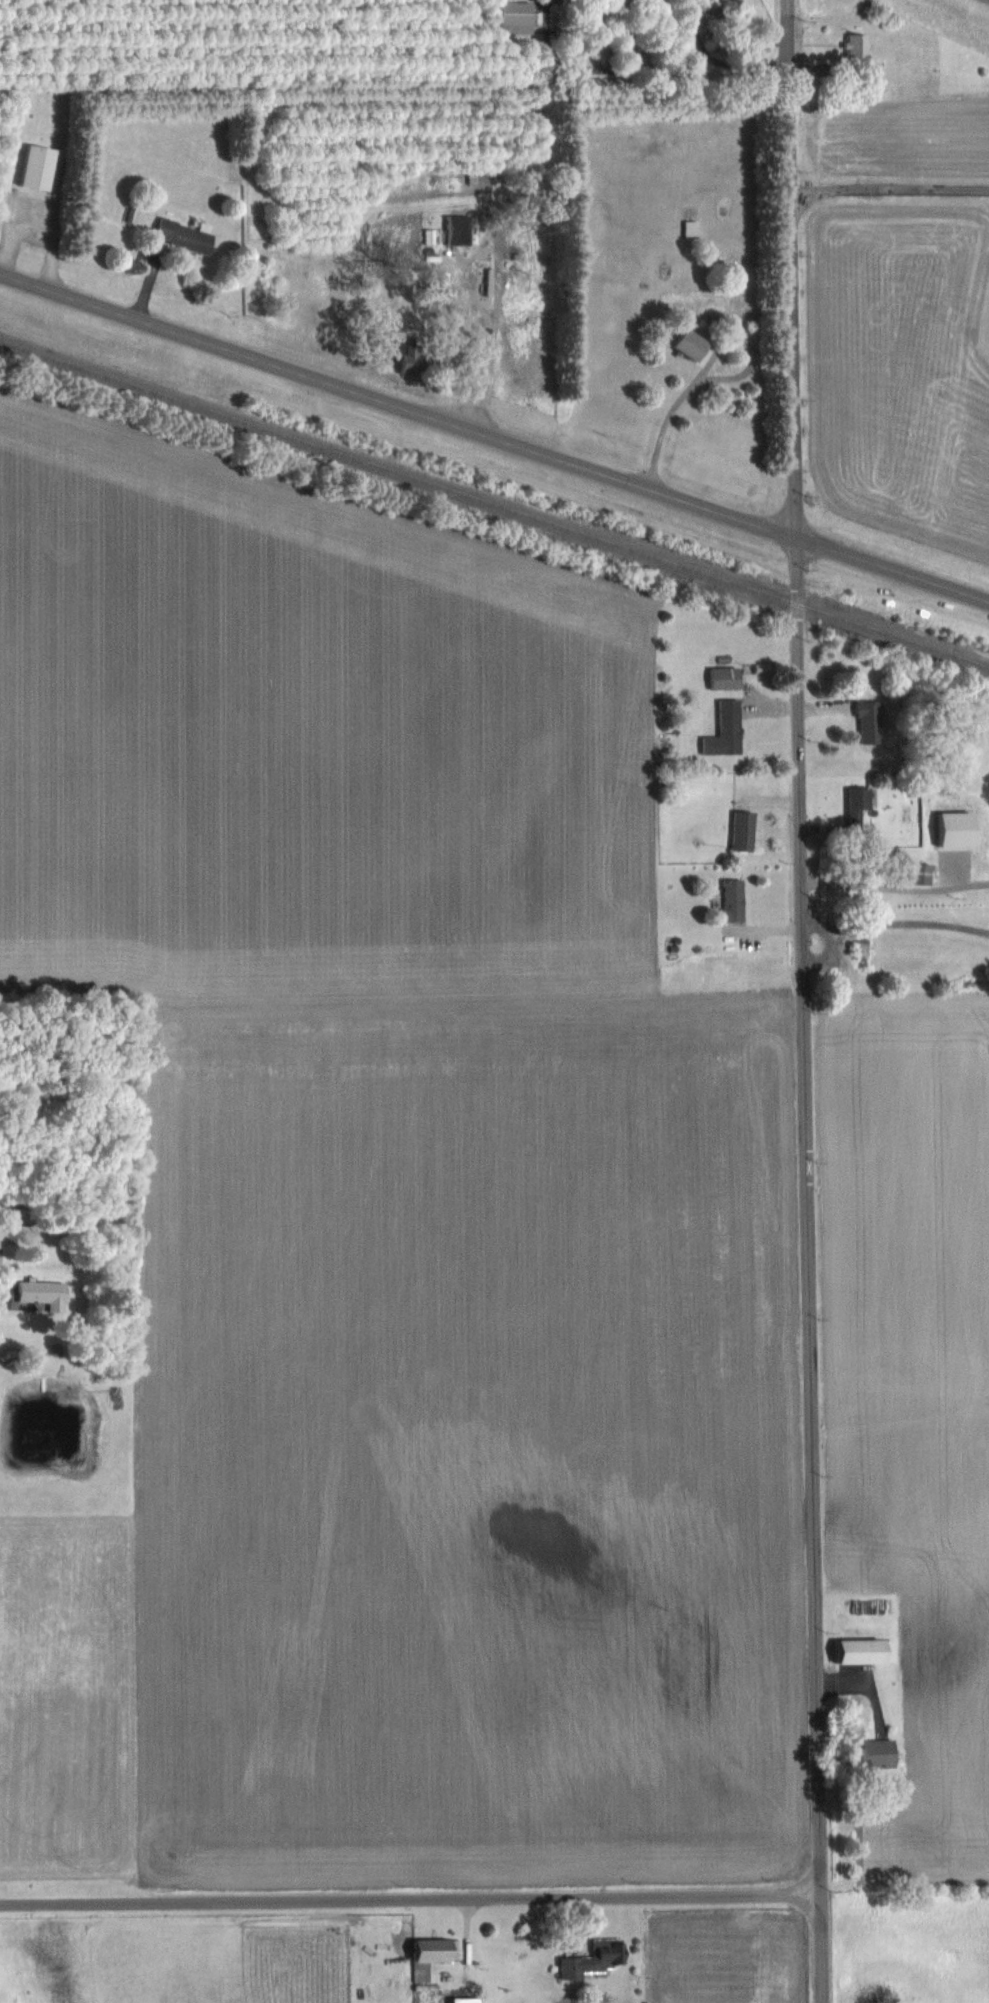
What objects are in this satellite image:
building: (516, 16)
building: (859, 53)
road: (641, 64)
building: (34, 167)
road: (890, 184)
building: (689, 227)
building: (456, 229)
building: (181, 234)
road: (486, 344)
building: (406, 360)
road: (697, 365)
building: (847, 391)
road: (494, 436)
railway: (494, 501)
building: (723, 676)
building: (869, 721)
building: (724, 729)
building: (855, 806)
building: (740, 830)
building: (918, 872)
road: (896, 886)
building: (731, 900)
road: (897, 923)
road: (825, 949)
building: (860, 949)
road: (805, 1001)
building: (41, 1292)
building: (863, 1649)
building: (873, 1753)
road: (410, 1899)
building: (432, 1954)
building: (590, 1958)
building: (465, 1999)

